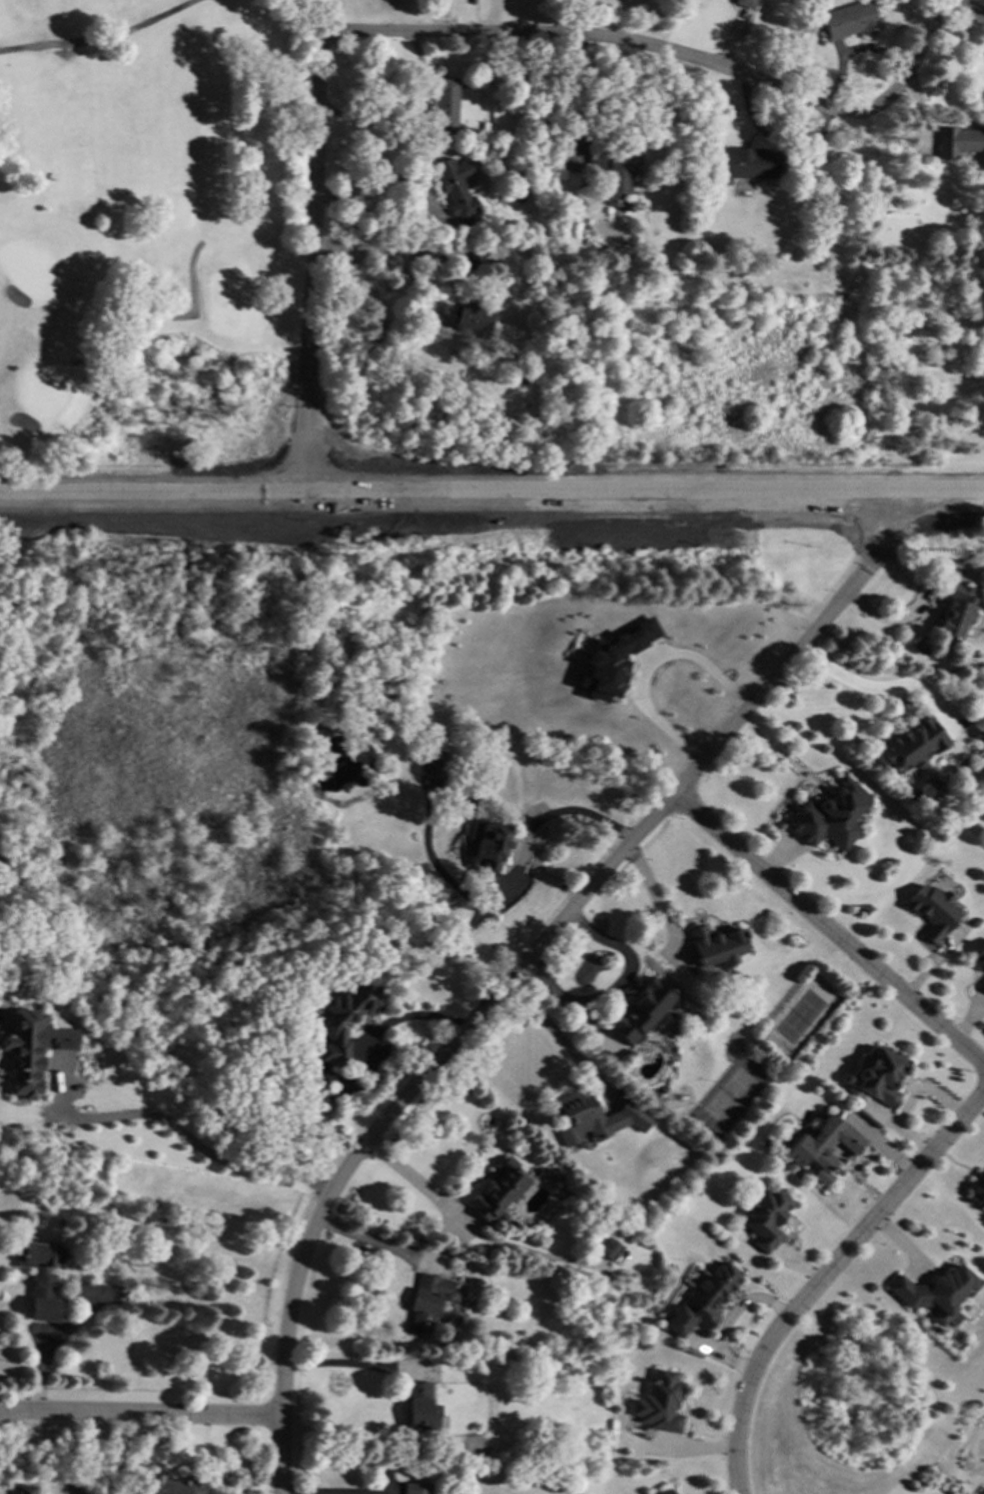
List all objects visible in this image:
building: (744, 3)
road: (966, 7)
building: (849, 20)
road: (604, 31)
building: (820, 33)
road: (103, 40)
road: (911, 57)
building: (443, 102)
road: (403, 110)
building: (541, 133)
building: (960, 143)
building: (742, 164)
building: (612, 173)
building: (456, 189)
park: (138, 207)
road: (405, 225)
building: (512, 228)
building: (148, 233)
park: (150, 235)
road: (314, 249)
road: (377, 256)
building: (479, 263)
road: (191, 303)
building: (463, 315)
building: (521, 377)
road: (492, 495)
road: (914, 605)
building: (955, 609)
building: (946, 646)
building: (612, 661)
road: (649, 665)
road: (879, 688)
building: (913, 744)
building: (434, 763)
building: (463, 788)
building: (913, 795)
road: (552, 816)
building: (831, 816)
building: (487, 853)
road: (598, 877)
road: (653, 898)
building: (931, 911)
road: (828, 930)
building: (716, 945)
building: (979, 958)
road: (629, 963)
building: (982, 984)
road: (565, 1008)
building: (640, 1010)
building: (344, 1021)
road: (385, 1027)
road: (558, 1040)
building: (30, 1051)
building: (880, 1076)
building: (848, 1079)
building: (315, 1089)
building: (587, 1117)
road: (172, 1125)
building: (821, 1147)
building: (497, 1190)
building: (977, 1193)
building: (764, 1218)
road: (470, 1233)
building: (608, 1248)
road: (822, 1275)
building: (39, 1278)
building: (934, 1292)
building: (701, 1300)
building: (427, 1301)
road: (55, 1348)
road: (348, 1366)
road: (282, 1377)
building: (659, 1404)
building: (420, 1407)
road: (140, 1412)
road: (205, 1453)
building: (174, 1484)
building: (551, 1484)
building: (416, 1487)
building: (23, 1489)
building: (660, 1491)
road: (379, 1492)
road: (303, 1493)

